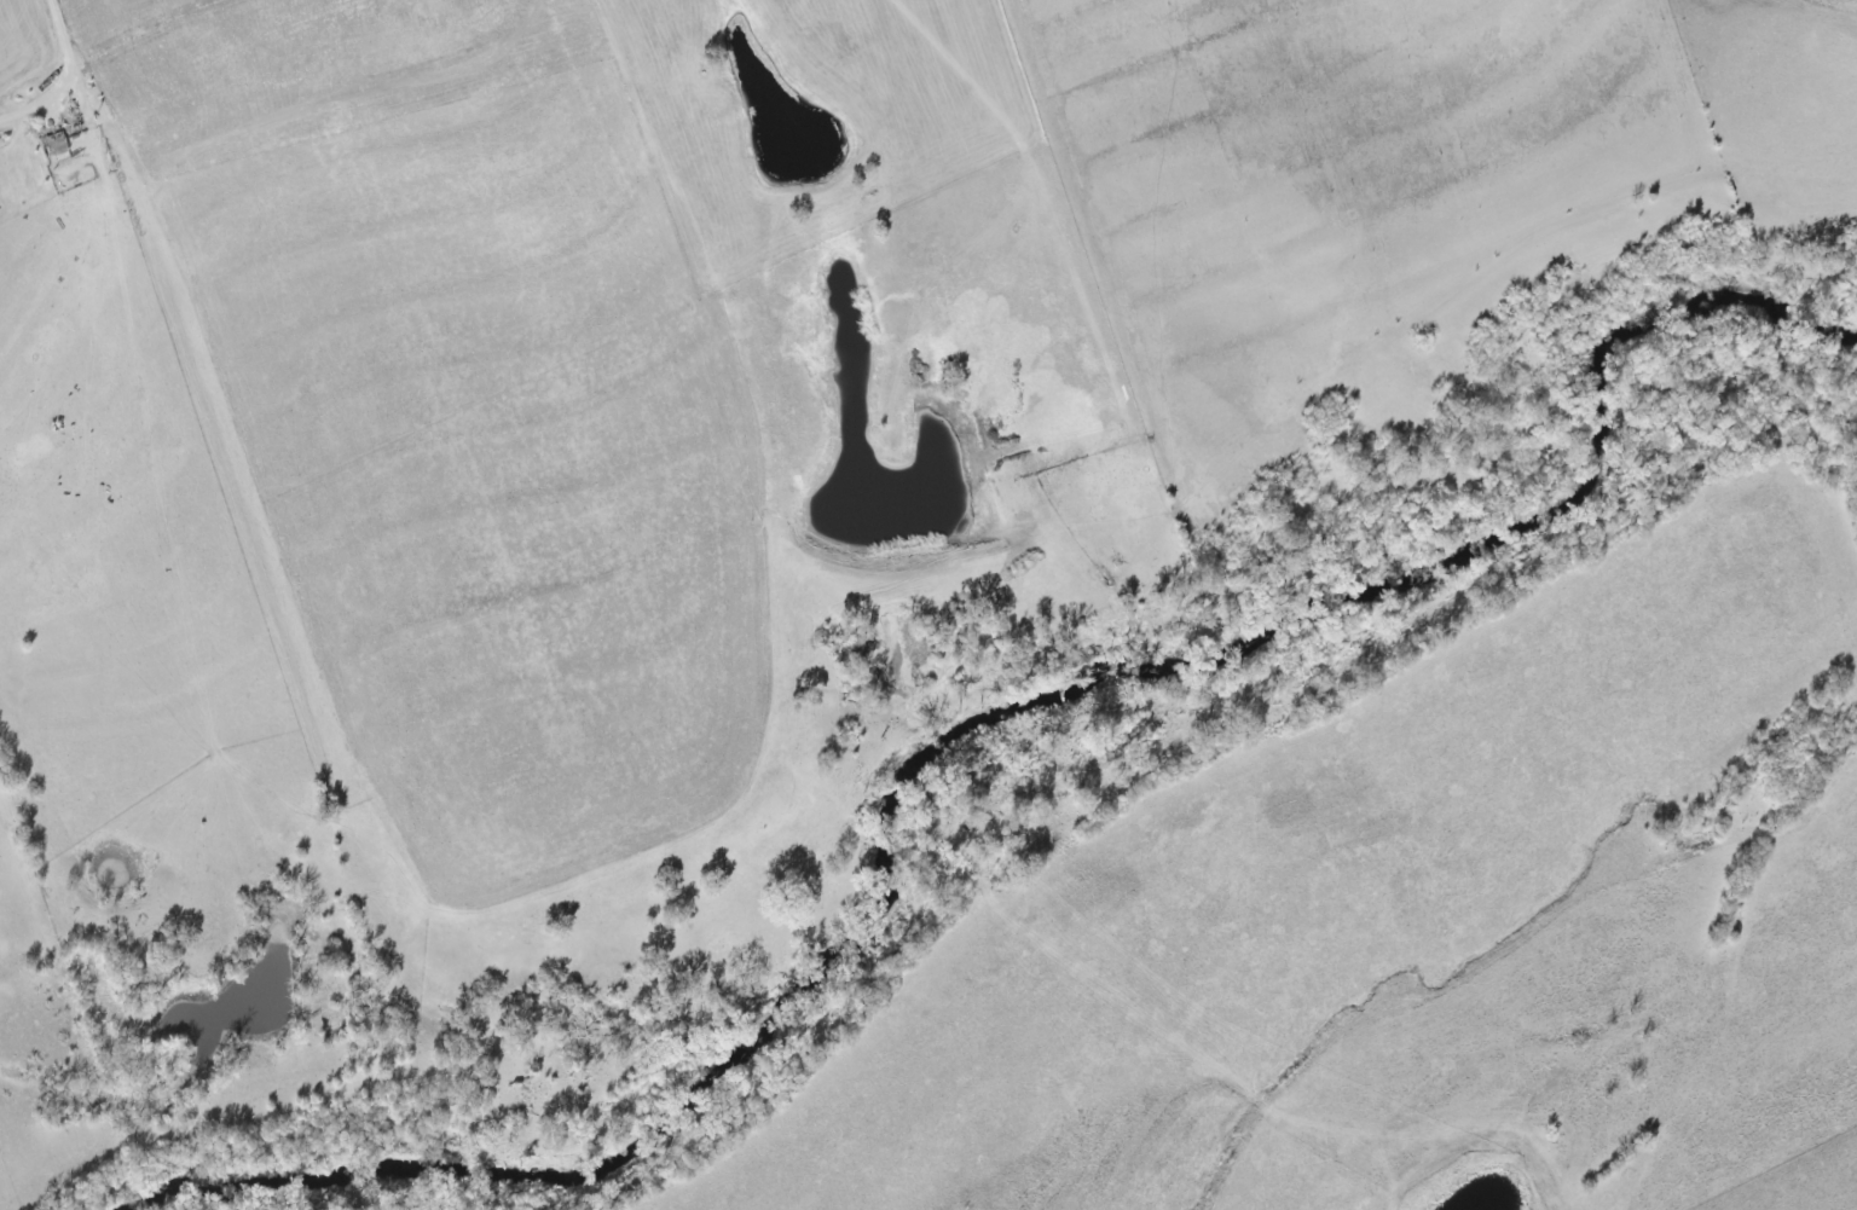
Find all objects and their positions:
road: (62, 51)

